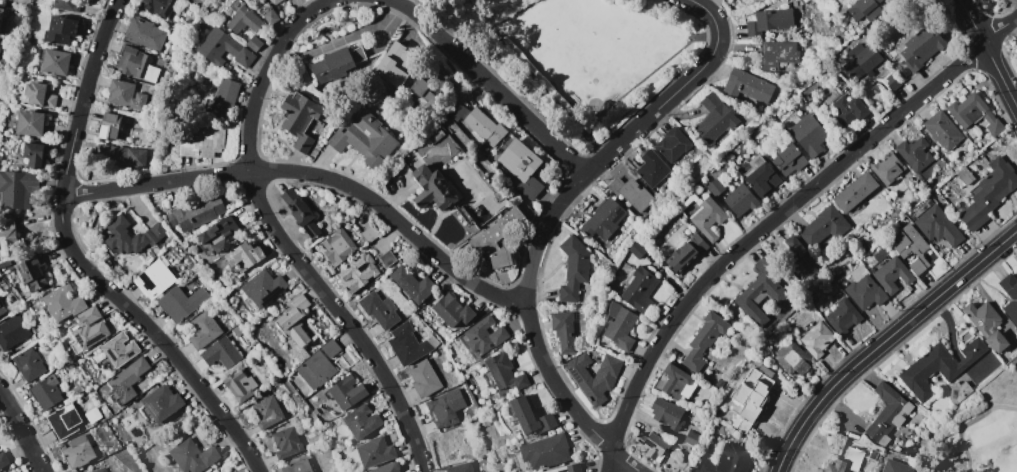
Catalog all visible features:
building: (255, 1)
building: (22, 2)
building: (274, 2)
road: (400, 4)
building: (68, 5)
building: (236, 5)
building: (159, 7)
building: (866, 9)
building: (1, 13)
building: (270, 16)
building: (773, 18)
building: (244, 20)
building: (3, 25)
building: (61, 29)
building: (144, 33)
building: (0, 42)
building: (254, 43)
building: (1016, 46)
building: (921, 47)
building: (853, 49)
building: (225, 50)
road: (988, 52)
building: (778, 54)
park: (585, 57)
building: (2, 59)
building: (56, 61)
building: (336, 63)
building: (396, 64)
building: (861, 64)
building: (137, 66)
road: (265, 71)
road: (655, 72)
building: (904, 73)
building: (825, 77)
road: (528, 82)
building: (892, 82)
building: (747, 85)
building: (842, 86)
road: (498, 89)
building: (423, 94)
building: (40, 95)
building: (125, 95)
road: (84, 96)
building: (223, 99)
building: (457, 110)
building: (848, 111)
building: (975, 114)
building: (715, 118)
building: (302, 120)
building: (30, 122)
building: (110, 126)
building: (484, 126)
building: (943, 130)
building: (435, 134)
building: (809, 135)
road: (628, 138)
building: (366, 139)
building: (202, 143)
building: (672, 143)
building: (915, 153)
building: (34, 155)
building: (121, 156)
building: (789, 160)
building: (521, 166)
building: (651, 168)
building: (887, 168)
building: (965, 175)
building: (761, 176)
building: (715, 187)
building: (17, 188)
building: (432, 188)
building: (856, 191)
building: (631, 192)
building: (988, 193)
building: (739, 198)
building: (299, 211)
building: (196, 213)
building: (704, 215)
road: (777, 216)
building: (603, 220)
road: (402, 226)
building: (823, 226)
building: (938, 226)
building: (155, 232)
building: (368, 233)
building: (217, 235)
building: (8, 237)
building: (124, 237)
building: (498, 237)
building: (189, 242)
building: (159, 246)
building: (338, 247)
building: (911, 248)
building: (636, 250)
building: (687, 252)
building: (243, 257)
building: (803, 257)
building: (387, 258)
building: (6, 264)
building: (573, 268)
building: (358, 272)
building: (889, 272)
building: (33, 273)
building: (1016, 273)
building: (622, 275)
building: (154, 279)
building: (413, 285)
building: (864, 287)
building: (262, 288)
building: (640, 290)
building: (760, 293)
building: (1010, 295)
building: (593, 300)
building: (182, 302)
building: (62, 303)
building: (2, 308)
building: (380, 310)
building: (452, 310)
building: (842, 315)
road: (341, 317)
building: (987, 325)
building: (620, 326)
building: (295, 327)
building: (566, 328)
building: (88, 329)
building: (203, 329)
building: (237, 331)
building: (12, 332)
road: (153, 334)
building: (483, 336)
building: (817, 338)
building: (704, 340)
road: (884, 340)
building: (316, 341)
building: (433, 342)
building: (407, 343)
building: (601, 343)
building: (331, 348)
building: (762, 350)
building: (117, 351)
building: (222, 353)
building: (792, 358)
building: (28, 364)
building: (948, 367)
building: (316, 370)
building: (504, 372)
building: (594, 375)
building: (424, 378)
building: (127, 380)
building: (677, 382)
building: (719, 383)
building: (240, 385)
building: (346, 392)
building: (958, 392)
building: (46, 393)
building: (749, 396)
building: (160, 405)
building: (445, 408)
building: (268, 411)
building: (315, 411)
building: (667, 413)
building: (887, 414)
building: (93, 415)
building: (529, 416)
building: (64, 421)
building: (362, 421)
park: (978, 429)
road: (21, 432)
building: (691, 438)
building: (286, 442)
building: (653, 446)
building: (908, 449)
building: (376, 451)
building: (78, 452)
building: (542, 453)
building: (103, 454)
building: (873, 454)
building: (193, 456)
building: (727, 459)
building: (3, 460)
building: (846, 461)
building: (298, 466)
building: (896, 466)
building: (387, 467)
building: (460, 467)
building: (567, 469)
building: (100, 470)
building: (820, 471)

